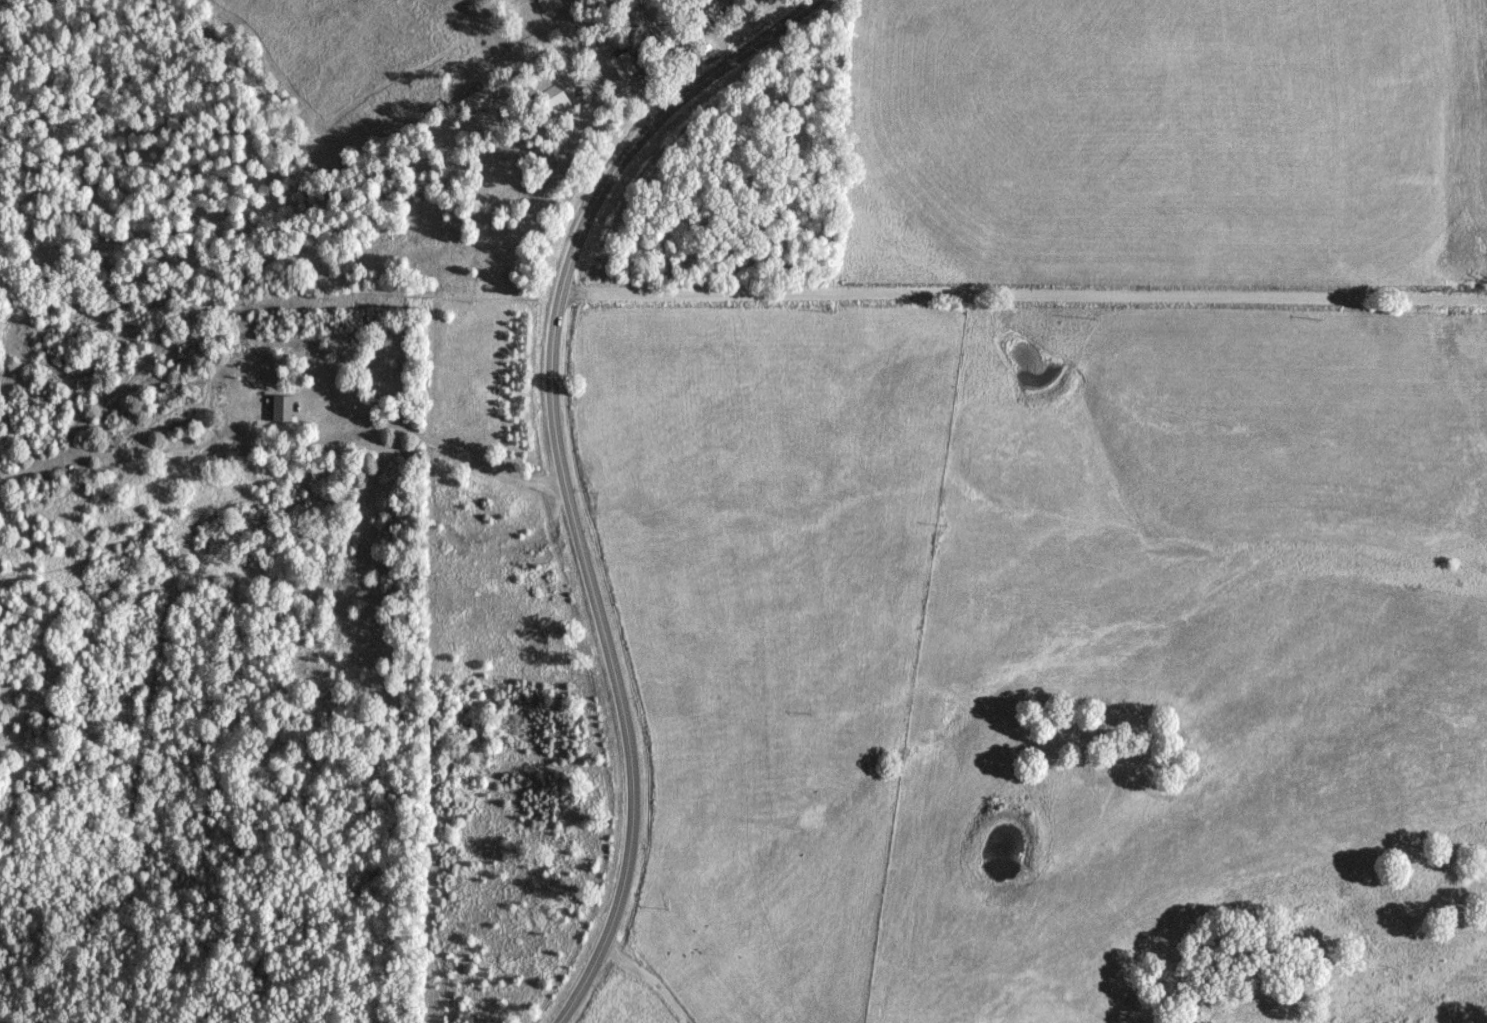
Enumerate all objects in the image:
building: (629, 64)
building: (477, 96)
building: (554, 96)
road: (1022, 288)
road: (274, 341)
building: (284, 409)
road: (561, 480)
road: (629, 984)

